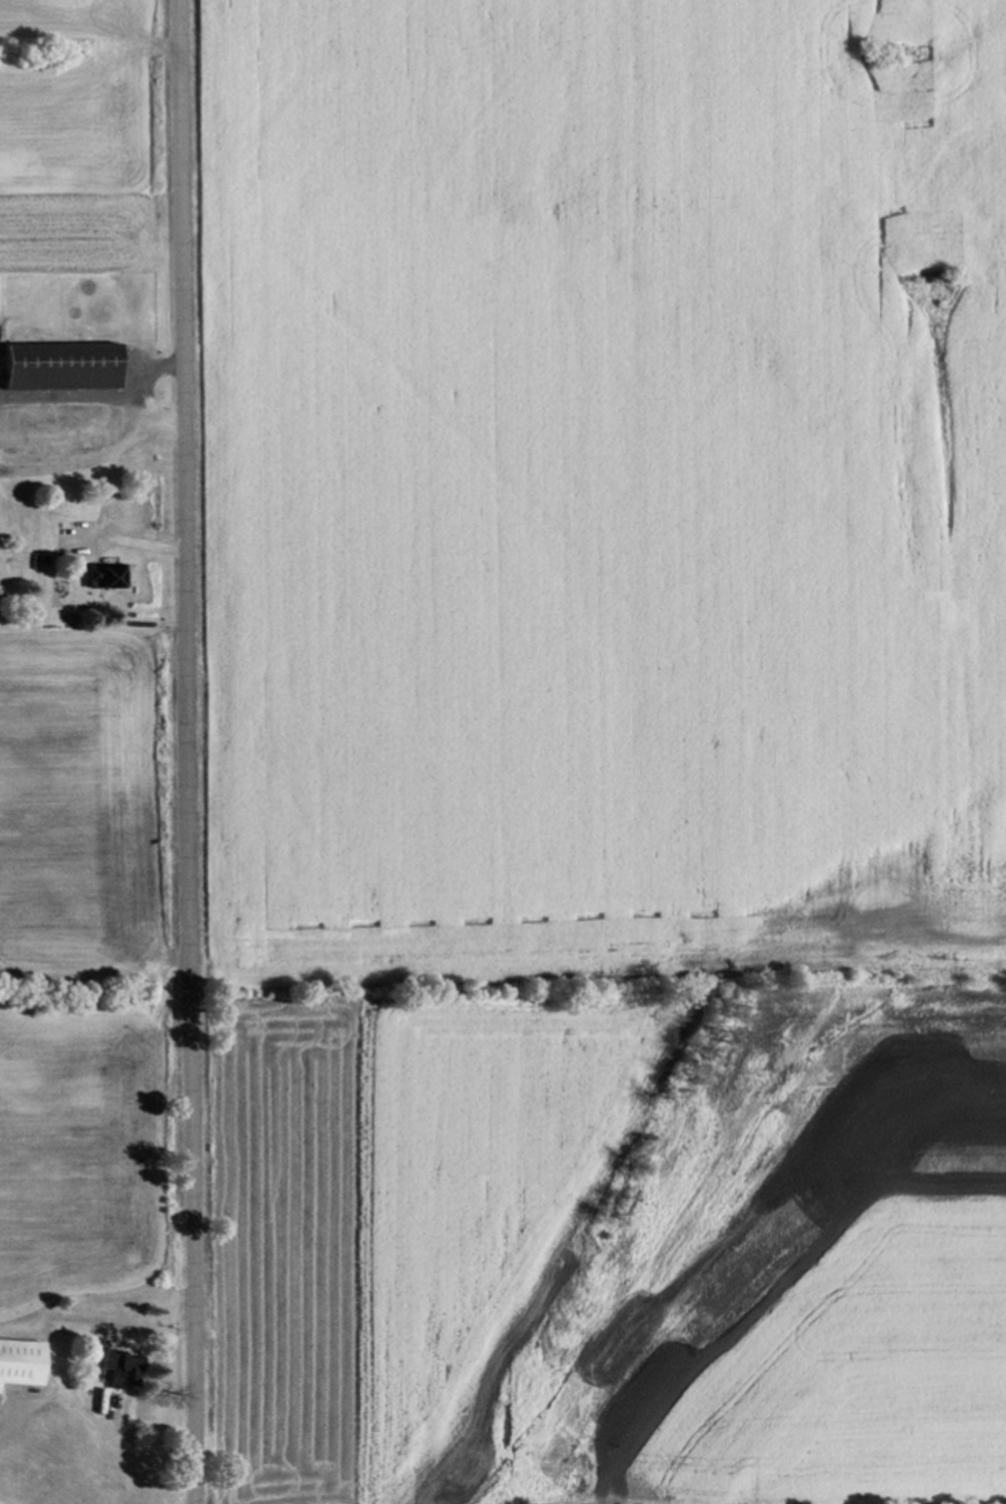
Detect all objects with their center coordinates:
building: (63, 369)
road: (99, 398)
road: (142, 411)
road: (96, 459)
building: (108, 577)
road: (187, 751)
building: (20, 1364)
building: (121, 1370)

